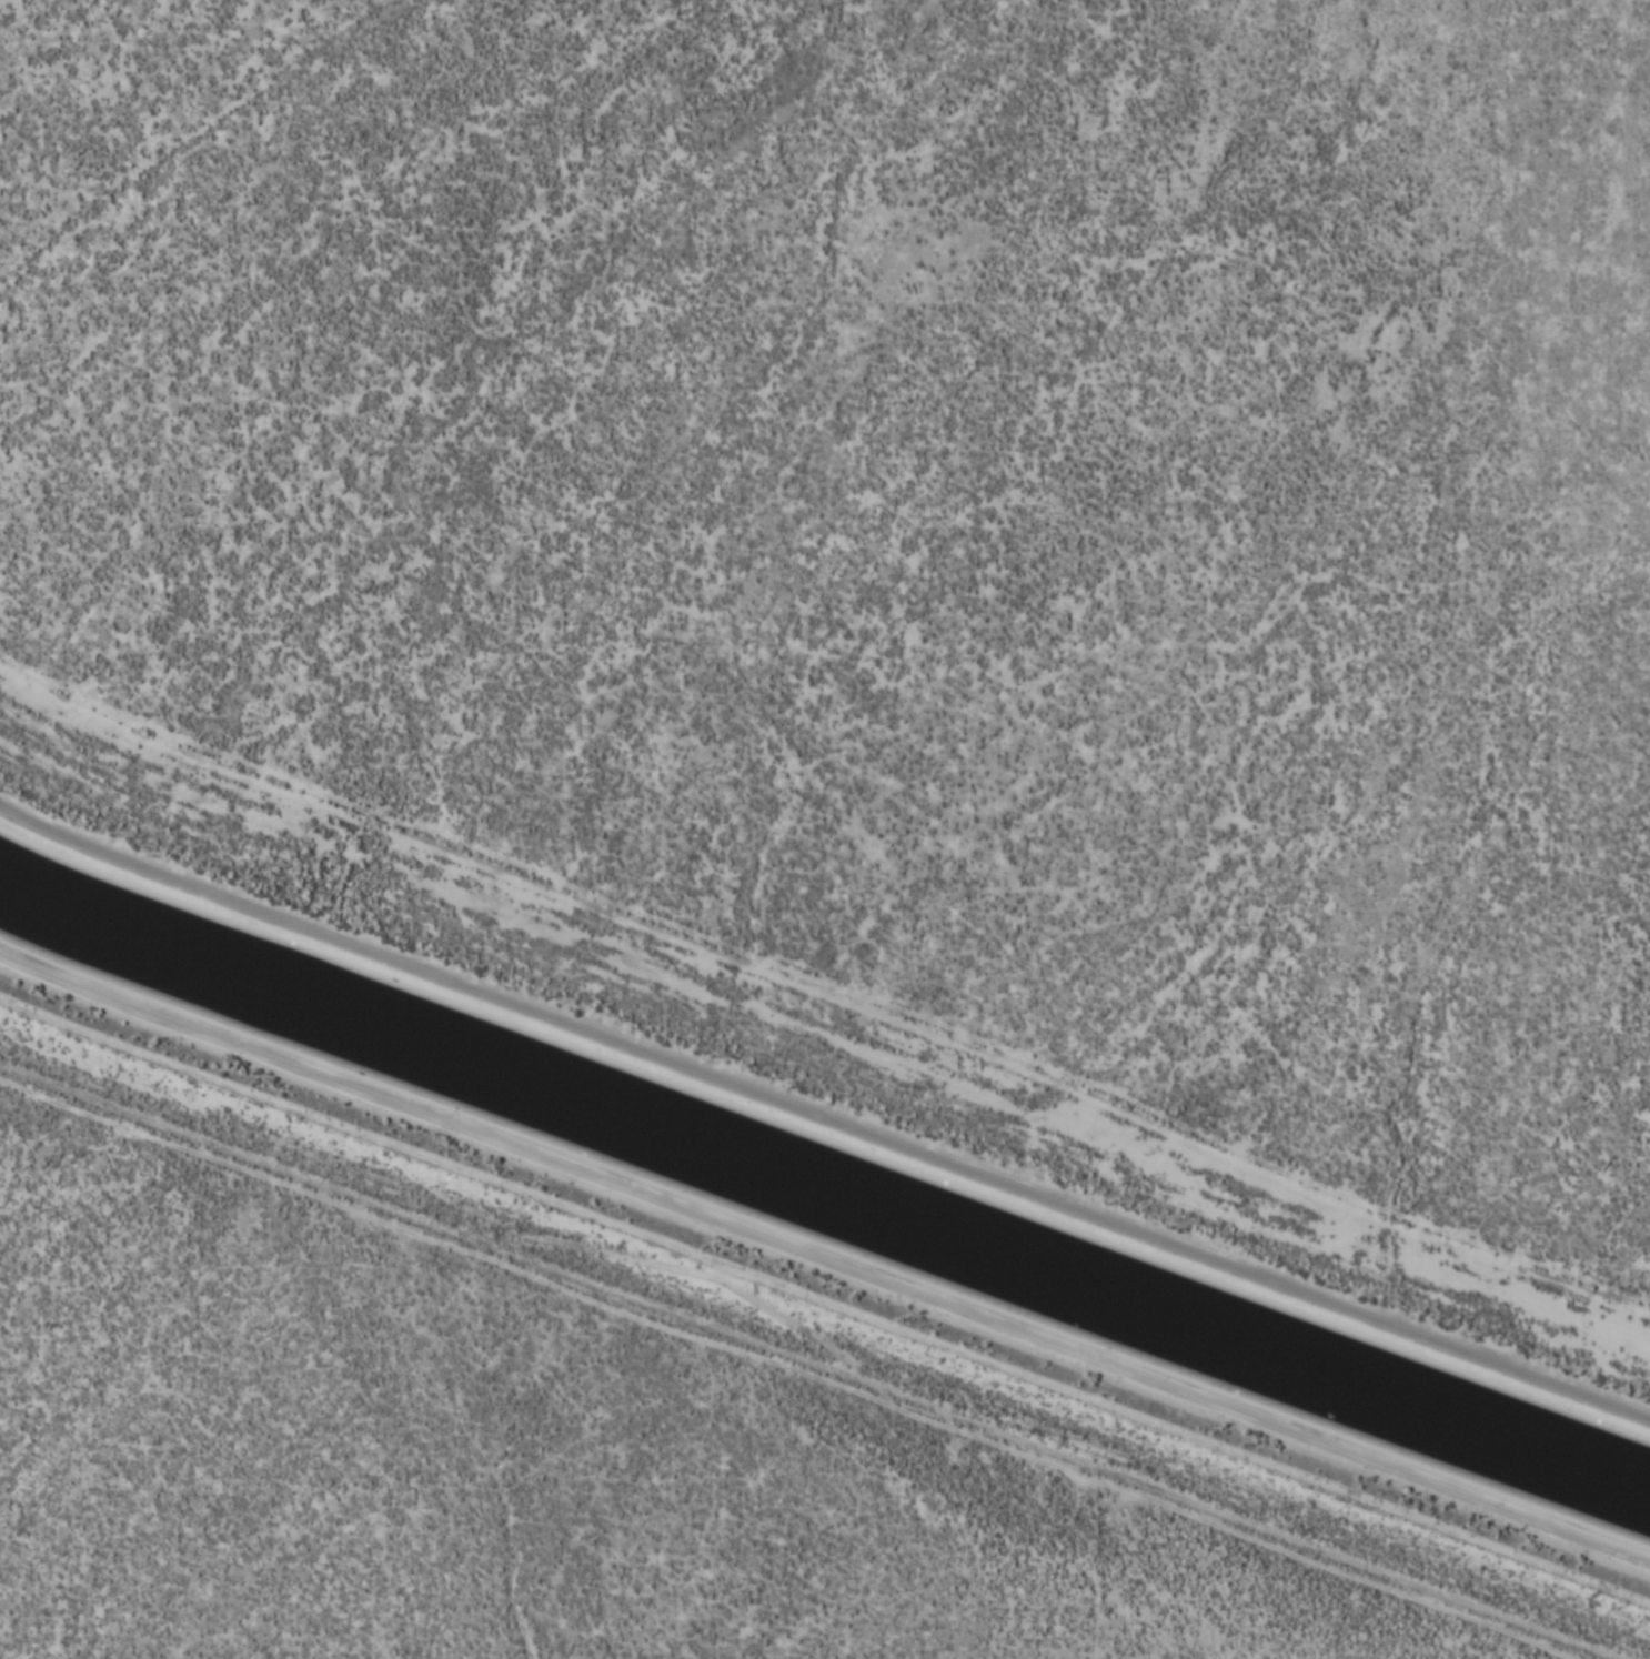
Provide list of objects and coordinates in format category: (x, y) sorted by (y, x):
crop: (922, 515)
road: (825, 1107)
road: (826, 1315)

